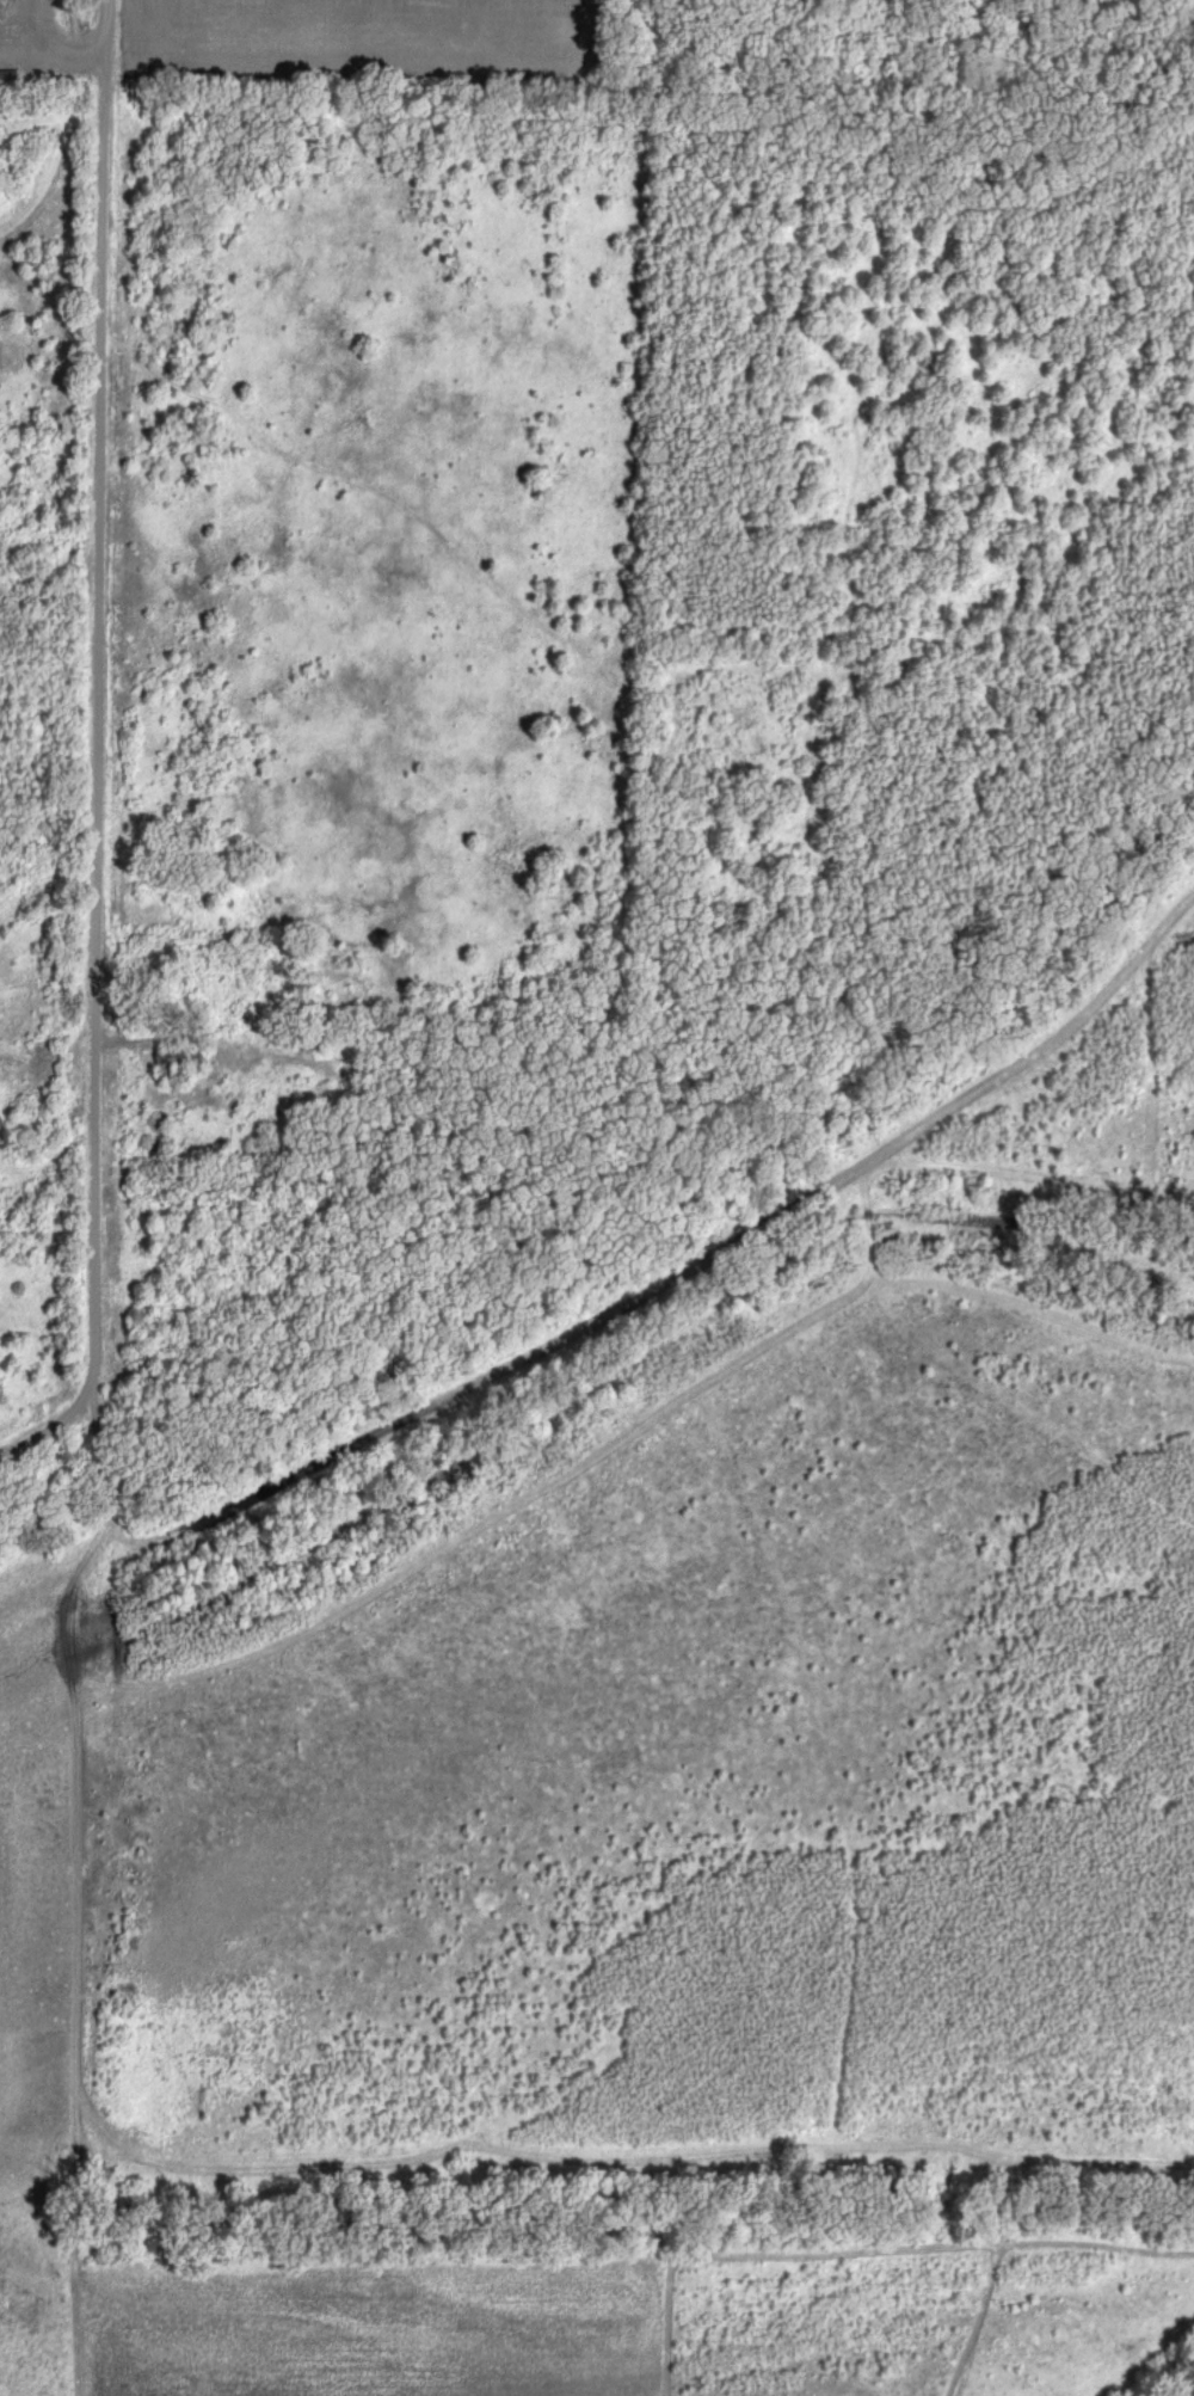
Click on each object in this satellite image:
road: (48, 39)
road: (94, 749)

